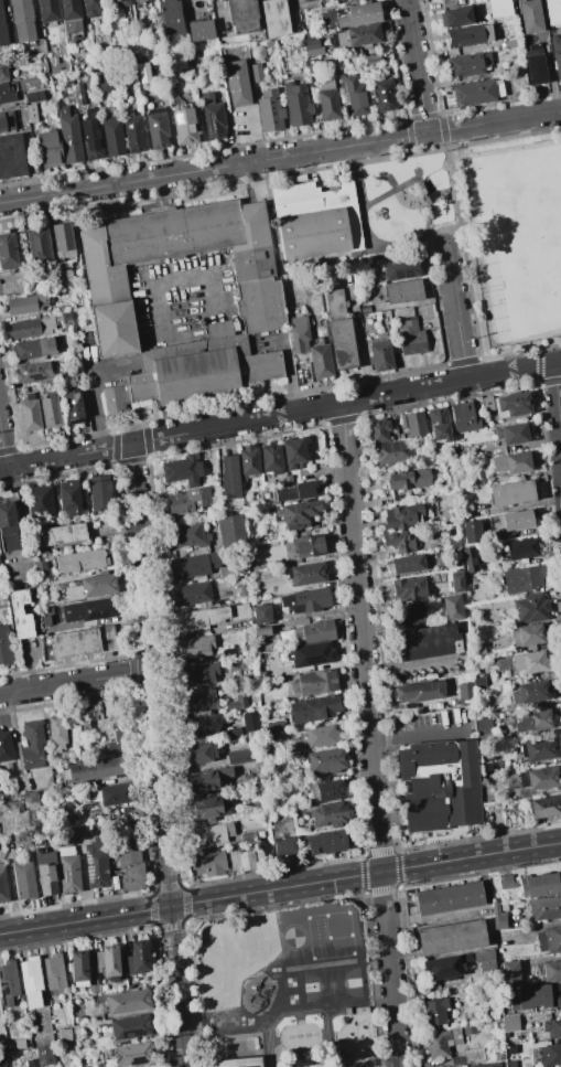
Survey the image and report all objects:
building: (342, 0)
building: (120, 2)
building: (139, 2)
building: (498, 8)
building: (91, 10)
building: (48, 11)
building: (552, 11)
building: (242, 15)
building: (530, 15)
building: (353, 17)
building: (457, 17)
building: (72, 18)
building: (171, 18)
building: (274, 18)
building: (23, 21)
building: (7, 29)
building: (201, 30)
building: (359, 36)
building: (466, 36)
building: (511, 43)
building: (312, 45)
building: (41, 49)
building: (136, 54)
building: (557, 55)
building: (54, 60)
building: (371, 60)
building: (467, 64)
building: (535, 65)
building: (313, 66)
road: (416, 66)
building: (255, 70)
building: (3, 71)
building: (107, 79)
building: (237, 84)
building: (202, 86)
building: (474, 93)
building: (6, 94)
building: (79, 95)
building: (385, 96)
building: (34, 97)
building: (355, 97)
building: (327, 99)
building: (296, 105)
building: (270, 111)
building: (32, 114)
building: (213, 117)
building: (7, 121)
building: (184, 124)
building: (158, 128)
building: (133, 132)
building: (69, 136)
building: (91, 136)
building: (114, 137)
building: (51, 150)
building: (11, 157)
road: (280, 157)
road: (455, 190)
building: (313, 220)
park: (479, 227)
park: (518, 238)
building: (63, 241)
building: (37, 246)
building: (8, 252)
building: (399, 269)
building: (403, 291)
building: (261, 296)
building: (26, 305)
building: (335, 305)
building: (365, 310)
road: (455, 312)
building: (32, 328)
building: (300, 337)
building: (411, 339)
building: (342, 344)
building: (33, 349)
building: (381, 356)
building: (321, 362)
building: (195, 371)
building: (34, 372)
road: (94, 393)
road: (345, 402)
road: (557, 403)
building: (488, 404)
building: (514, 405)
building: (74, 408)
building: (50, 412)
building: (30, 414)
building: (464, 418)
building: (413, 424)
building: (439, 424)
building: (378, 431)
building: (513, 435)
road: (2, 450)
building: (393, 451)
building: (294, 455)
building: (460, 456)
road: (65, 458)
building: (271, 459)
building: (249, 461)
building: (511, 463)
building: (183, 470)
building: (230, 478)
building: (409, 479)
building: (288, 480)
building: (85, 482)
building: (99, 490)
building: (295, 492)
building: (511, 493)
building: (69, 498)
building: (188, 501)
building: (40, 502)
building: (296, 514)
building: (402, 516)
building: (511, 521)
building: (8, 527)
building: (231, 531)
building: (472, 532)
building: (63, 534)
building: (188, 535)
building: (454, 543)
building: (399, 544)
building: (309, 546)
building: (519, 549)
building: (442, 552)
building: (470, 559)
building: (79, 561)
building: (408, 564)
building: (193, 565)
building: (0, 567)
building: (41, 568)
building: (226, 572)
building: (306, 574)
building: (524, 579)
building: (457, 583)
building: (89, 586)
building: (409, 588)
building: (244, 591)
building: (191, 594)
building: (305, 600)
building: (453, 608)
building: (532, 608)
building: (91, 609)
building: (20, 612)
building: (410, 612)
building: (228, 613)
building: (261, 613)
building: (54, 615)
building: (109, 620)
building: (191, 620)
building: (263, 631)
building: (317, 631)
building: (291, 636)
building: (528, 636)
building: (84, 641)
building: (427, 642)
building: (4, 647)
building: (195, 647)
building: (230, 652)
building: (311, 653)
building: (525, 663)
building: (198, 674)
building: (234, 679)
road: (74, 682)
building: (478, 682)
building: (314, 683)
building: (417, 692)
building: (465, 693)
building: (530, 693)
building: (197, 701)
building: (237, 703)
building: (314, 708)
building: (91, 713)
building: (249, 721)
building: (532, 722)
building: (202, 725)
building: (271, 725)
building: (484, 726)
building: (57, 733)
building: (231, 733)
road: (417, 733)
road: (369, 735)
building: (322, 736)
building: (118, 737)
building: (32, 745)
building: (4, 747)
building: (538, 749)
building: (201, 754)
road: (157, 756)
building: (241, 756)
building: (271, 756)
building: (326, 760)
building: (8, 767)
building: (95, 769)
building: (539, 778)
building: (207, 780)
building: (440, 785)
building: (327, 790)
building: (114, 793)
building: (515, 793)
building: (31, 800)
building: (14, 805)
building: (546, 807)
building: (209, 809)
building: (63, 810)
building: (328, 814)
building: (123, 825)
building: (211, 834)
building: (260, 834)
building: (248, 836)
building: (283, 837)
building: (130, 839)
building: (326, 842)
building: (65, 851)
building: (241, 861)
building: (96, 863)
building: (208, 864)
building: (131, 869)
building: (45, 871)
building: (68, 873)
building: (24, 879)
building: (505, 882)
building: (3, 885)
building: (540, 885)
road: (280, 888)
building: (449, 898)
traffic signals: (170, 907)
building: (544, 908)
building: (499, 918)
building: (451, 937)
building: (549, 939)
building: (137, 958)
building: (111, 960)
building: (485, 960)
building: (78, 968)
building: (443, 969)
building: (54, 971)
building: (548, 971)
building: (510, 972)
building: (31, 982)
building: (8, 983)
park: (293, 983)
building: (93, 984)
building: (535, 997)
building: (129, 1002)
building: (434, 1012)
building: (76, 1020)
building: (510, 1023)
building: (128, 1026)
building: (75, 1028)
building: (552, 1028)
building: (470, 1031)
building: (65, 1034)
building: (438, 1044)
building: (525, 1050)
building: (456, 1053)
building: (132, 1054)
building: (474, 1055)
building: (550, 1055)
building: (44, 1056)
building: (2, 1060)
building: (457, 1060)
building: (236, 1061)
building: (32, 1063)
building: (486, 1065)
building: (106, 1066)

